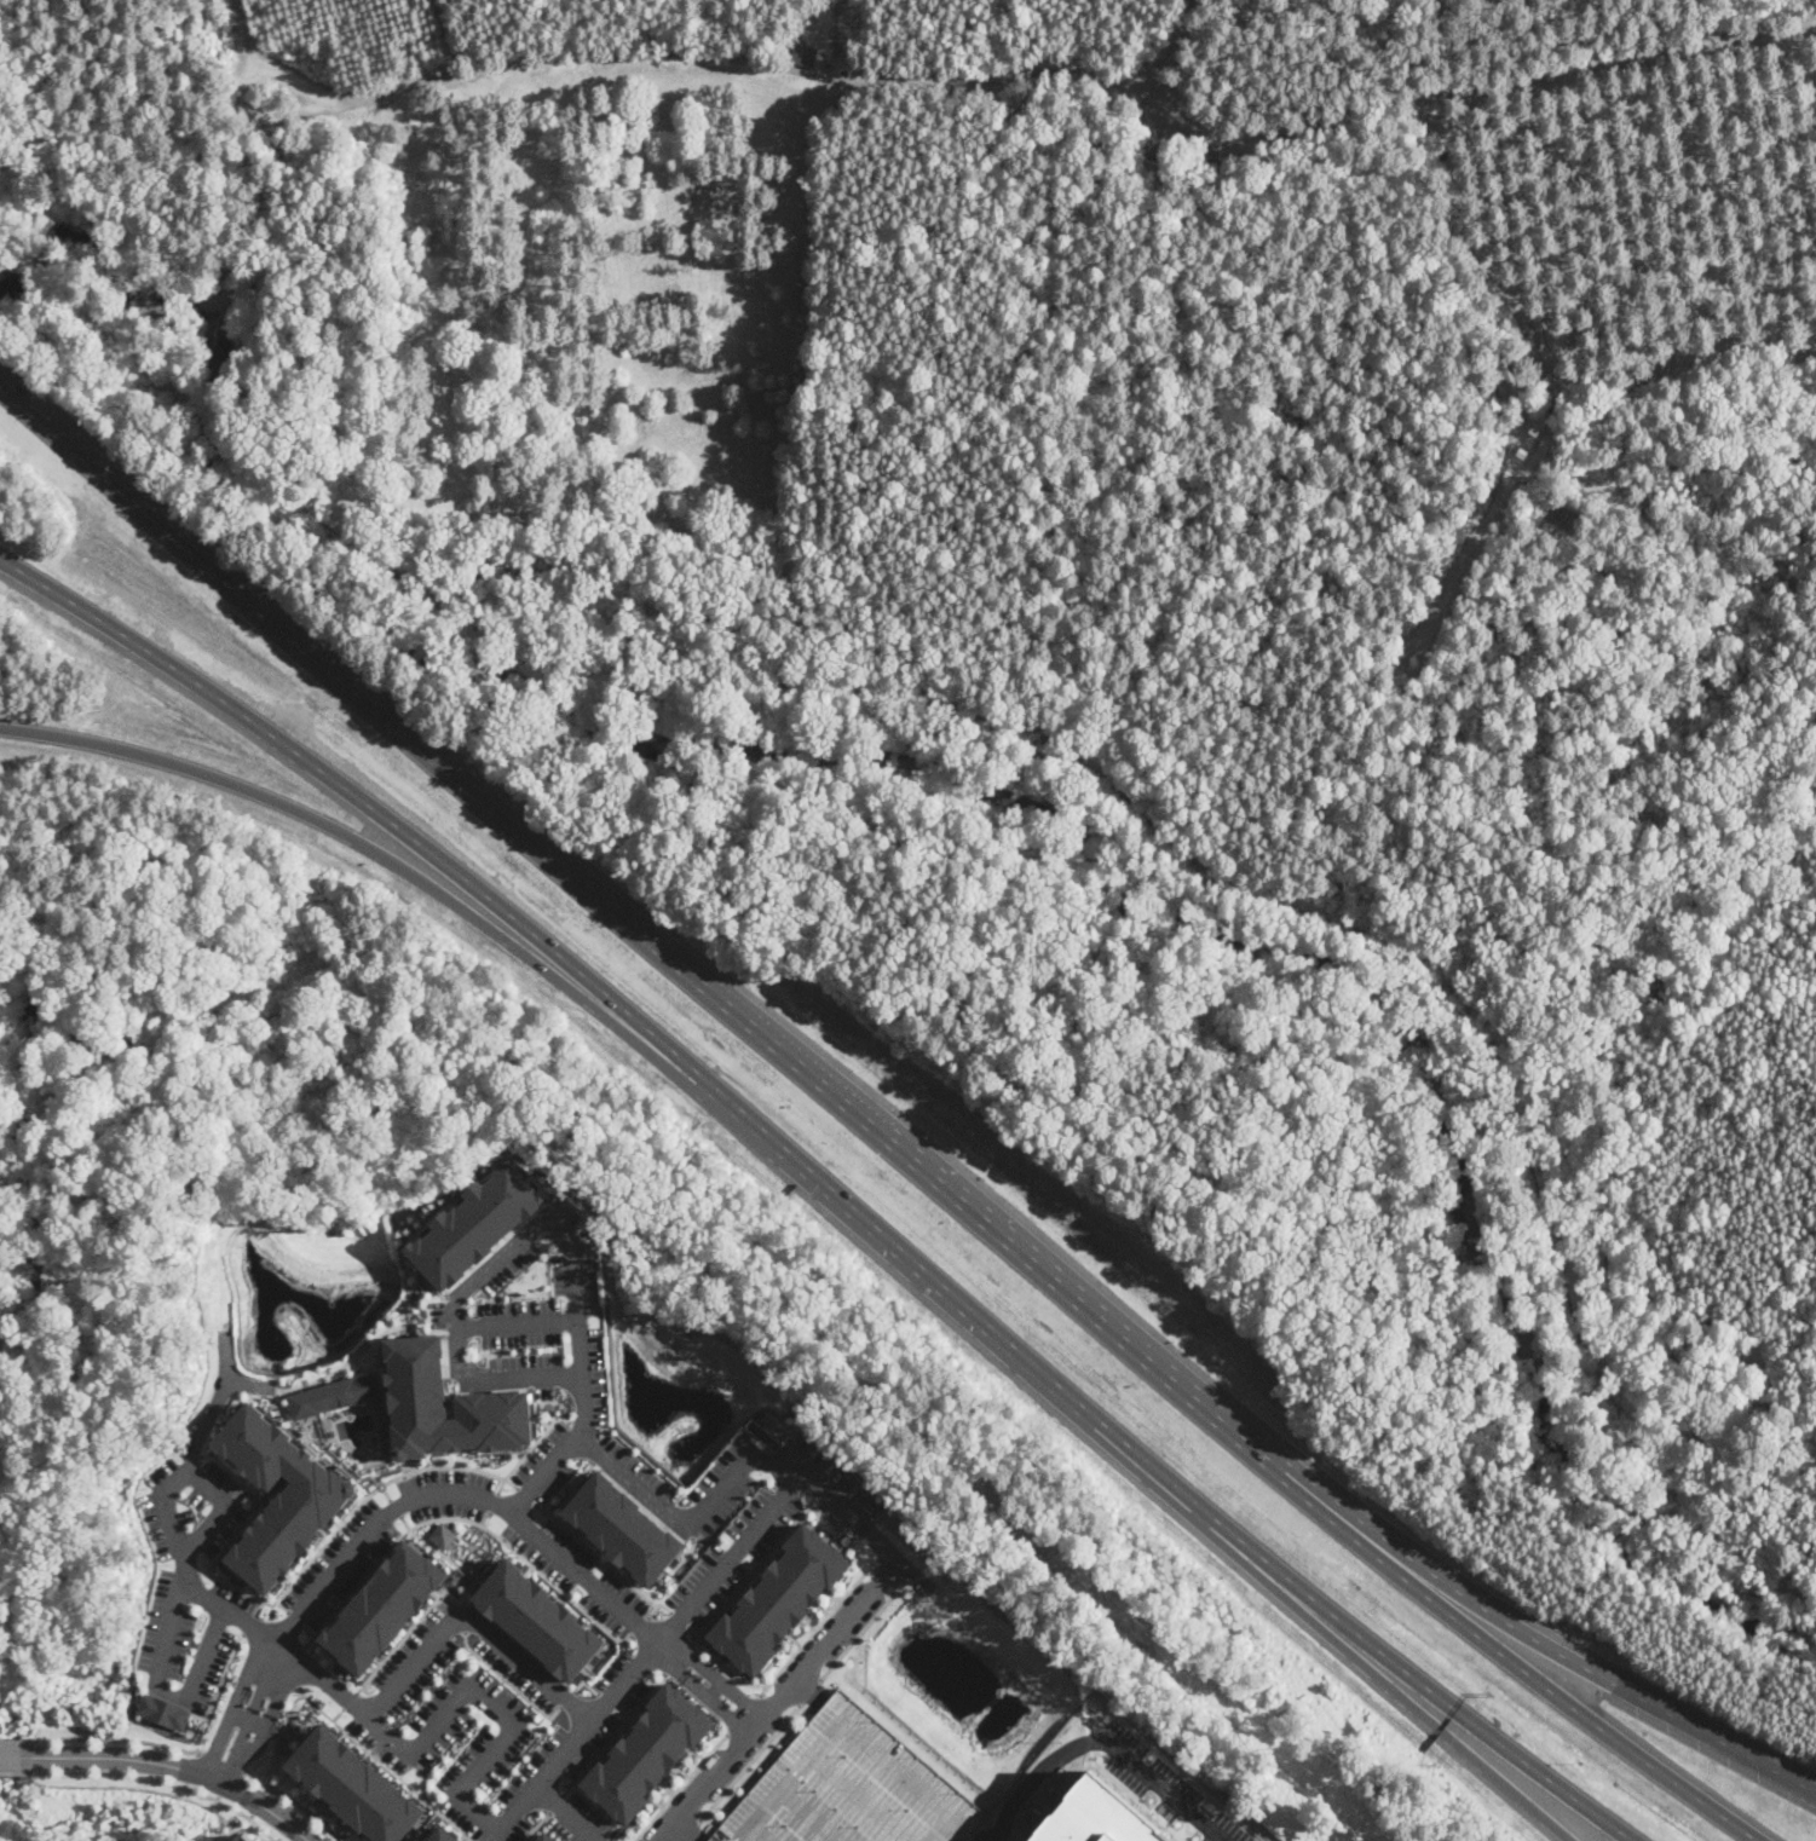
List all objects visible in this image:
road: (1689, 21)
road: (235, 35)
road: (1171, 52)
building: (802, 56)
road: (1074, 70)
road: (231, 83)
road: (24, 120)
road: (162, 145)
building: (1148, 167)
building: (1186, 175)
road: (1500, 259)
road: (339, 344)
building: (1510, 375)
building: (1534, 429)
road: (1135, 444)
building: (1522, 452)
building: (1510, 474)
road: (256, 611)
road: (361, 798)
road: (373, 848)
road: (1315, 907)
road: (898, 1155)
building: (475, 1224)
road: (518, 1322)
road: (457, 1323)
road: (1019, 1354)
building: (334, 1395)
building: (492, 1397)
road: (525, 1454)
road: (546, 1471)
road: (648, 1493)
road: (525, 1494)
building: (279, 1495)
road: (480, 1497)
road: (492, 1502)
road: (224, 1510)
road: (466, 1518)
road: (485, 1518)
building: (624, 1528)
road: (171, 1533)
building: (443, 1535)
road: (881, 1540)
road: (595, 1553)
road: (733, 1558)
road: (754, 1566)
road: (886, 1577)
road: (293, 1580)
building: (779, 1599)
road: (659, 1604)
building: (384, 1606)
road: (469, 1620)
building: (538, 1620)
road: (680, 1620)
road: (416, 1621)
road: (641, 1624)
road: (817, 1627)
road: (1797, 1628)
road: (693, 1632)
road: (859, 1632)
road: (826, 1639)
road: (1543, 1641)
road: (678, 1658)
road: (1517, 1664)
road: (299, 1666)
road: (726, 1669)
road: (261, 1680)
road: (809, 1692)
road: (166, 1693)
road: (727, 1698)
road: (350, 1699)
building: (165, 1712)
road: (338, 1714)
road: (744, 1714)
road: (278, 1733)
road: (613, 1733)
road: (1453, 1736)
road: (1487, 1737)
road: (234, 1738)
road: (119, 1739)
road: (18, 1741)
road: (1103, 1745)
building: (648, 1753)
road: (489, 1755)
road: (17, 1756)
road: (224, 1760)
road: (750, 1762)
road: (181, 1767)
road: (387, 1767)
road: (17, 1772)
road: (703, 1781)
road: (162, 1782)
building: (354, 1787)
road: (681, 1787)
building: (849, 1788)
parking garage: (849, 1788)
road: (294, 1801)
road: (555, 1802)
road: (570, 1813)
building: (1096, 1817)
road: (535, 1825)
road: (687, 1829)
road: (691, 1830)
building: (443, 1835)
building: (546, 1836)
building: (244, 1837)

